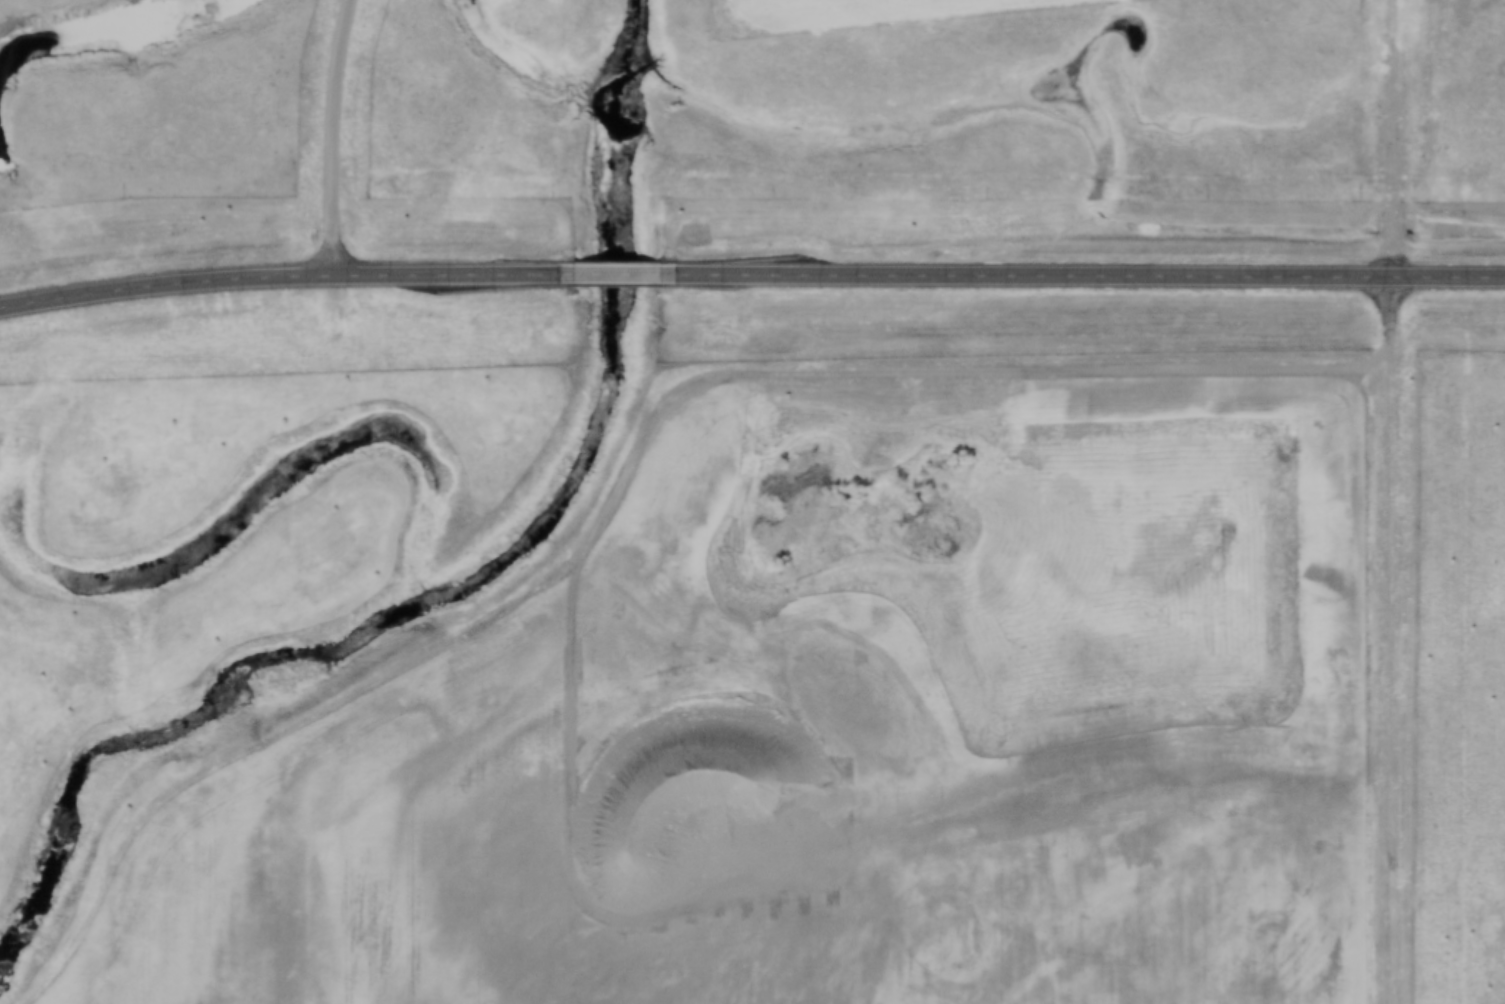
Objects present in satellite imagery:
road: (335, 137)
road: (625, 275)
road: (1086, 277)
road: (289, 278)
road: (633, 471)
road: (1388, 502)
building: (1464, 1001)

